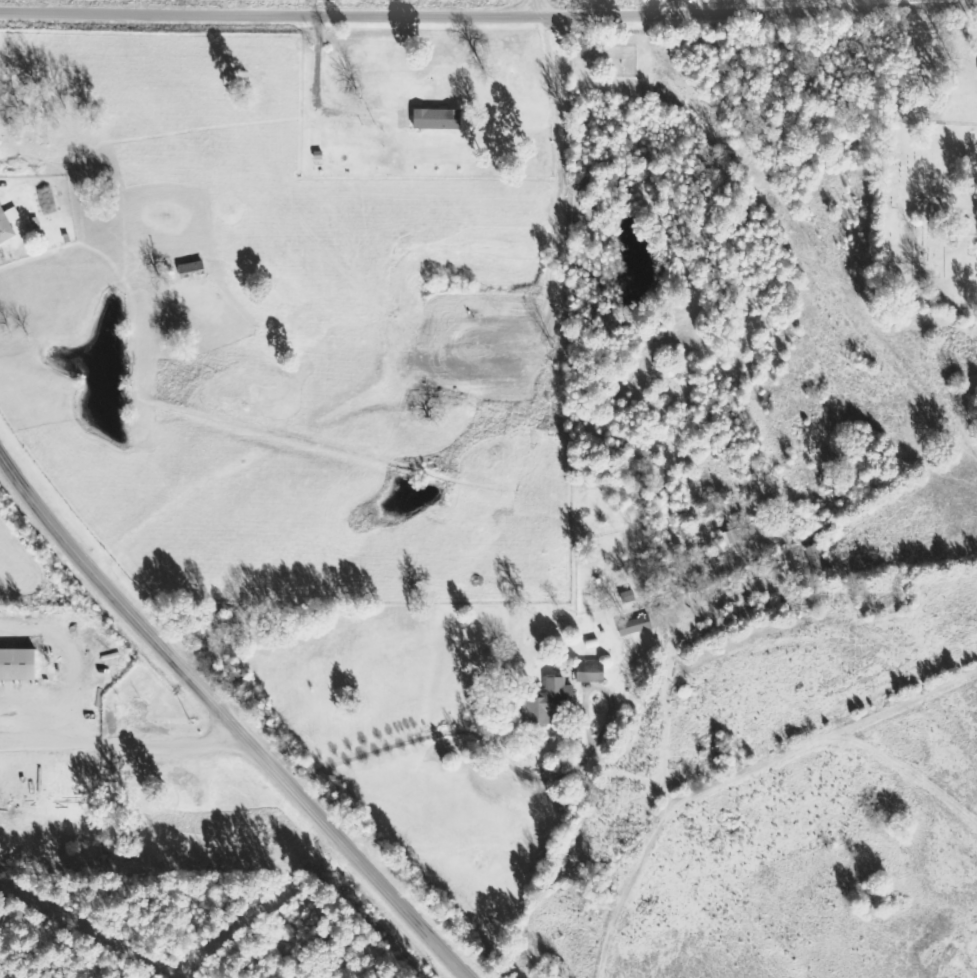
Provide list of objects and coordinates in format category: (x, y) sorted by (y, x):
road: (538, 3)
road: (488, 6)
building: (435, 118)
park: (927, 220)
building: (7, 223)
building: (633, 626)
building: (16, 665)
building: (589, 672)
building: (547, 702)
building: (129, 710)
road: (229, 719)
road: (126, 733)
road: (514, 770)
building: (132, 775)

